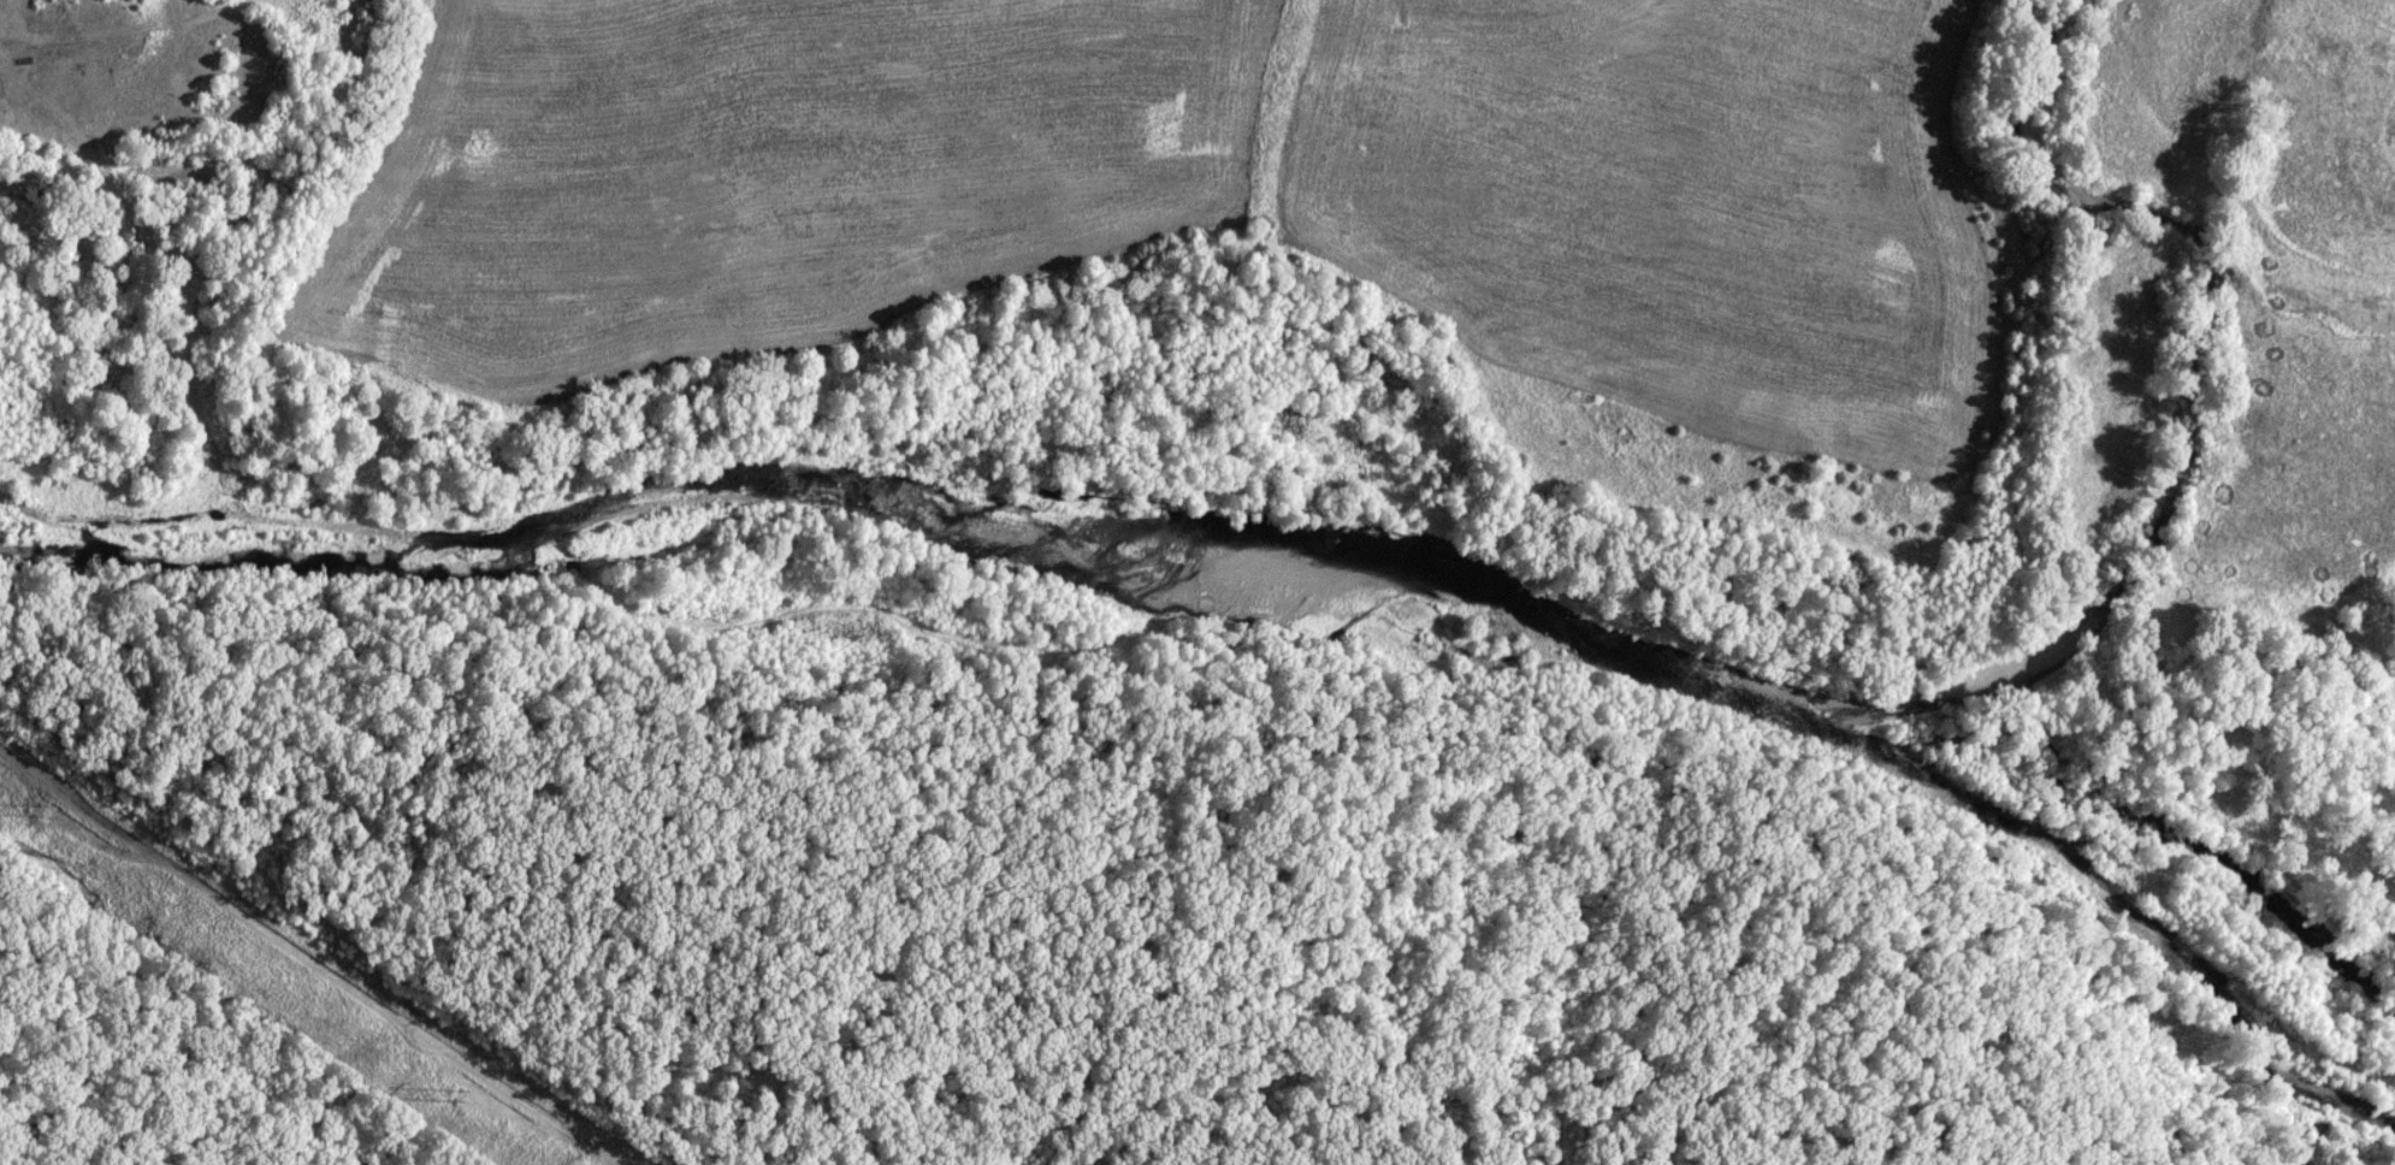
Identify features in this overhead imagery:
power tower: (173, 900)
power tower: (499, 1117)

